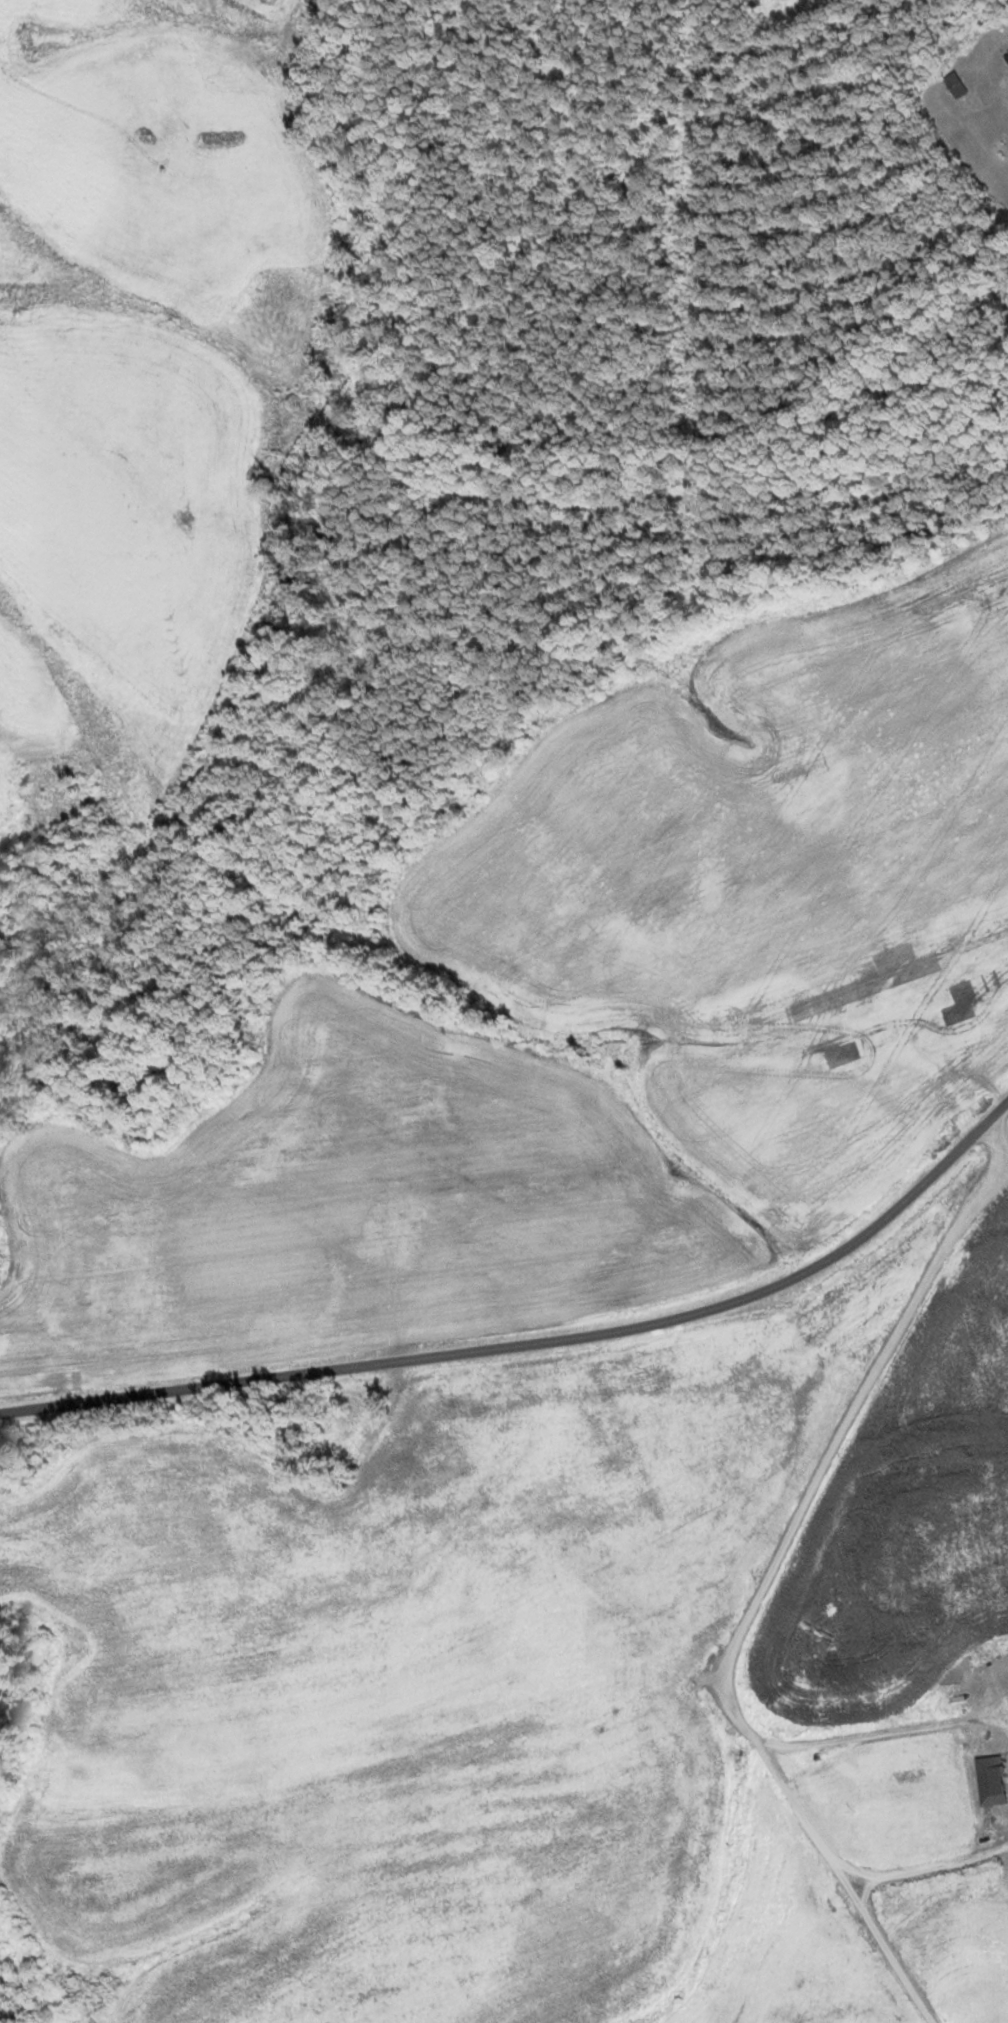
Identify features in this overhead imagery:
building: (1006, 57)
building: (954, 85)
building: (999, 153)
road: (538, 1341)
road: (769, 1591)
road: (888, 1734)
building: (990, 1781)
road: (927, 1867)

